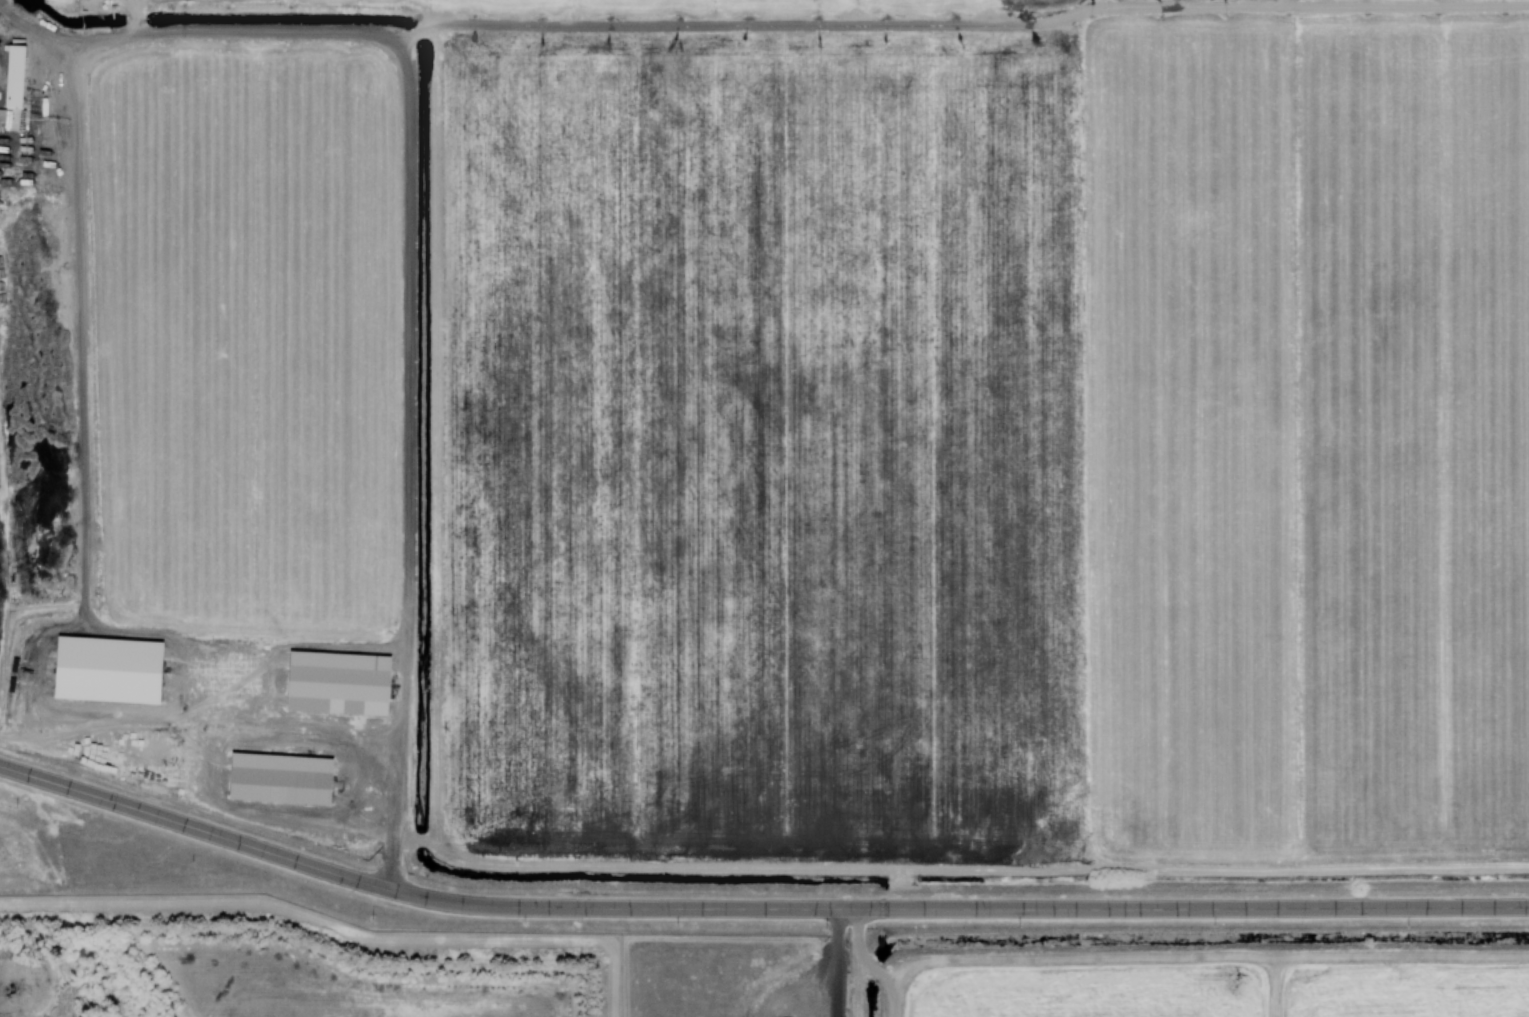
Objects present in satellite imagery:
building: (111, 669)
road: (753, 908)

